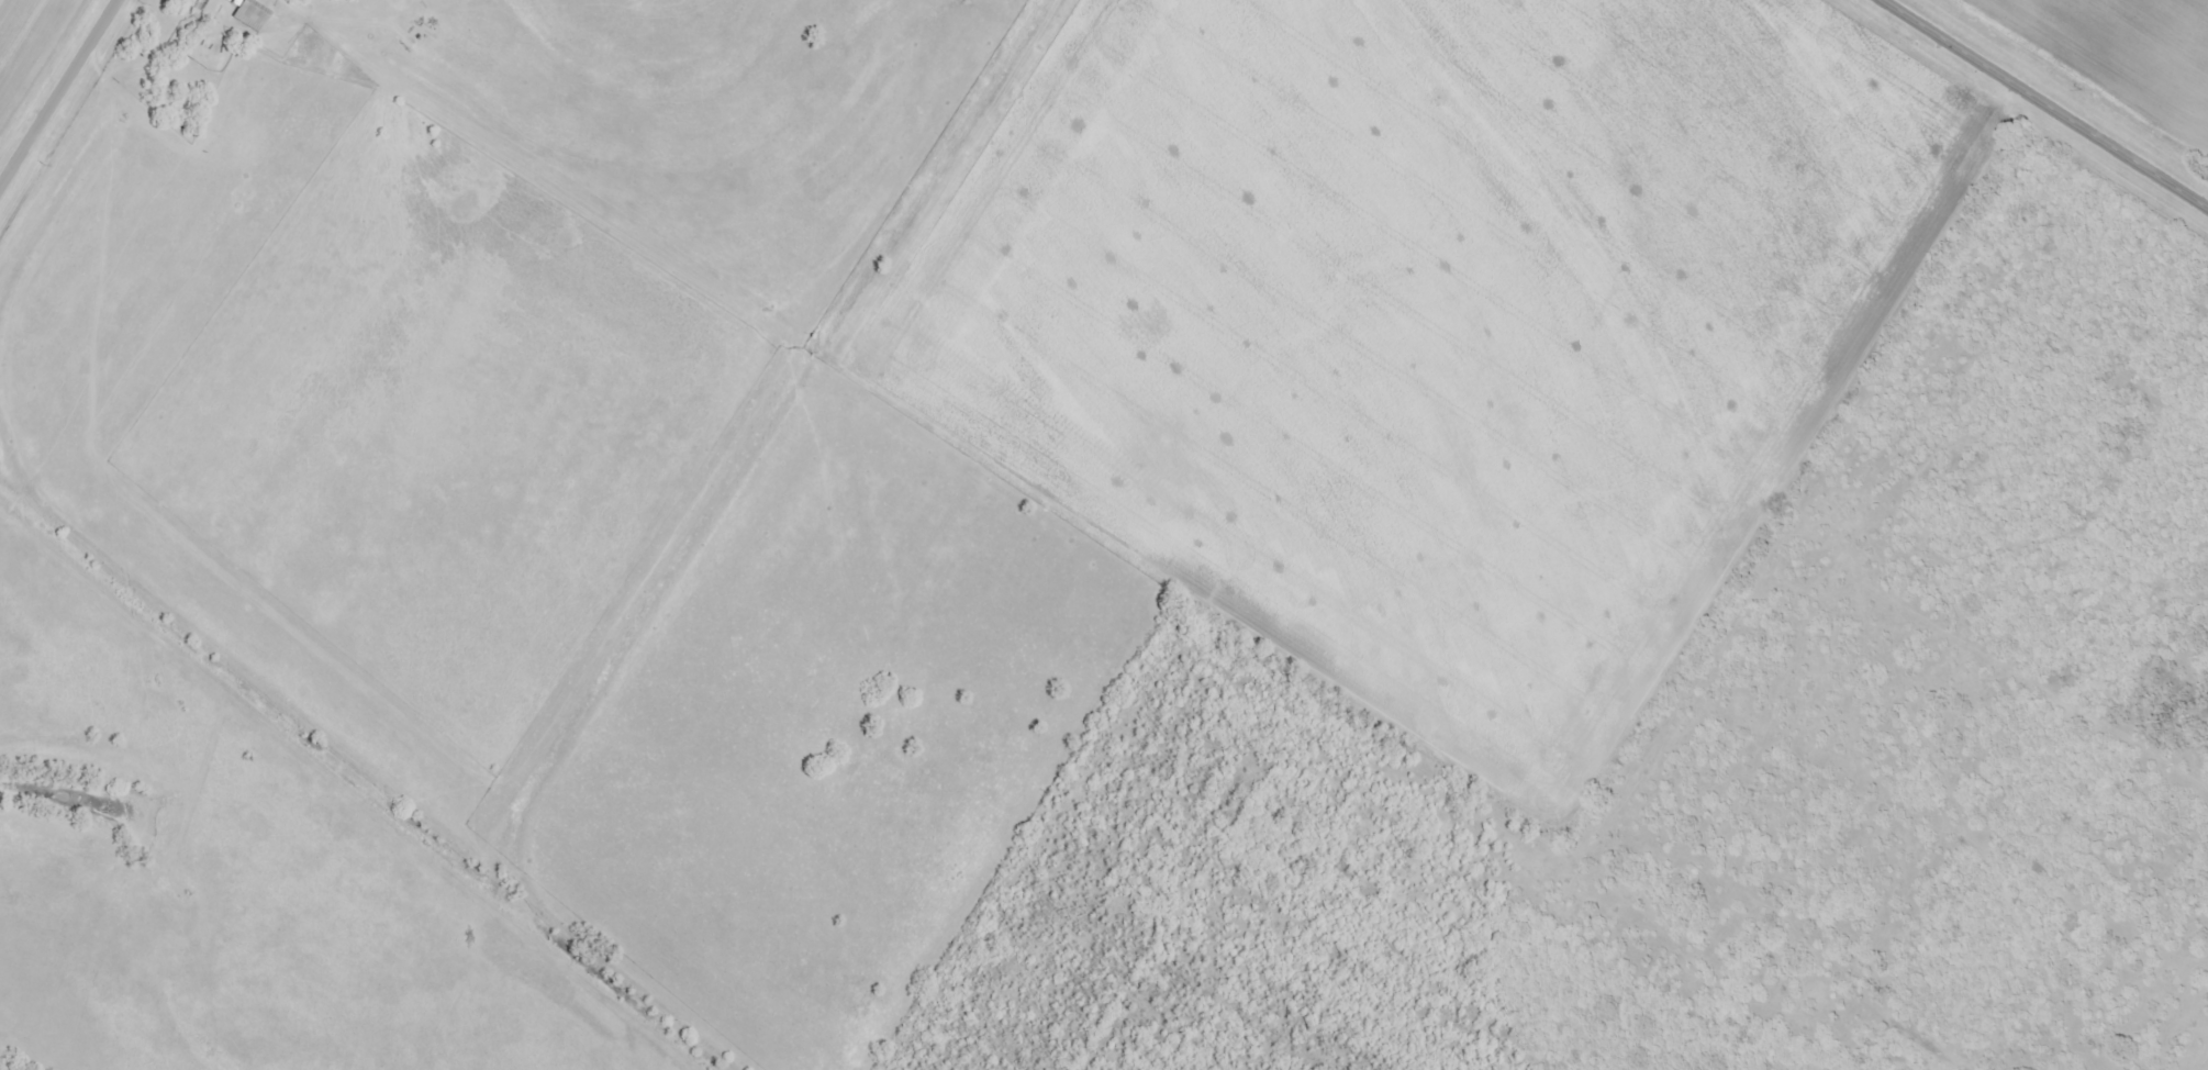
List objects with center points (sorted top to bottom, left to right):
road: (60, 93)
road: (2054, 97)

